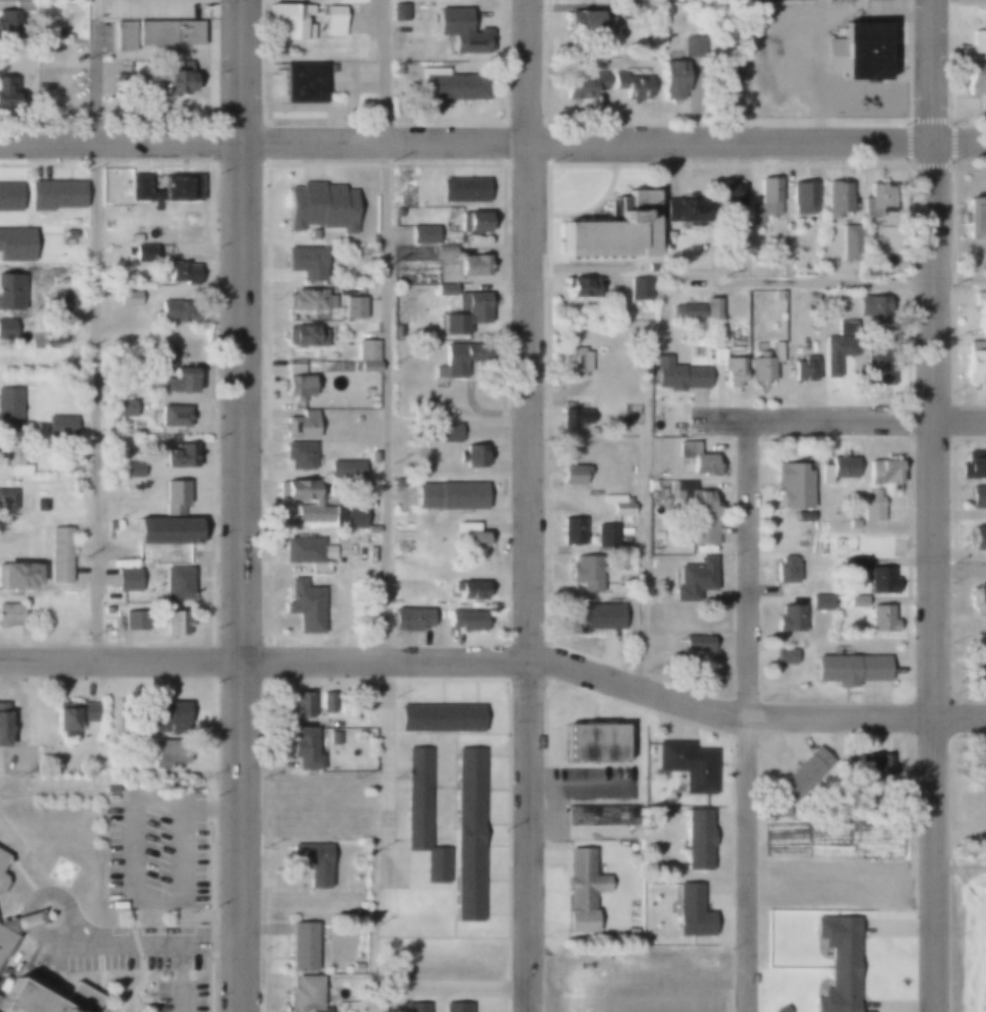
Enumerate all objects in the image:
building: (350, 1)
parking lot: (153, 7)
building: (627, 11)
building: (14, 17)
building: (333, 20)
building: (288, 22)
building: (585, 22)
building: (461, 33)
building: (157, 34)
building: (978, 42)
building: (689, 45)
building: (859, 52)
building: (737, 59)
road: (96, 70)
building: (173, 76)
building: (975, 78)
parking lot: (61, 80)
building: (671, 80)
building: (723, 81)
building: (127, 82)
building: (303, 83)
building: (582, 85)
building: (630, 85)
building: (449, 86)
building: (7, 92)
road: (614, 140)
road: (120, 141)
building: (163, 187)
building: (462, 190)
building: (731, 193)
building: (53, 195)
building: (802, 197)
building: (10, 198)
building: (836, 199)
building: (764, 201)
building: (876, 202)
building: (318, 206)
building: (683, 210)
building: (398, 212)
building: (974, 219)
building: (474, 221)
building: (72, 222)
building: (188, 226)
building: (611, 230)
building: (69, 234)
building: (422, 234)
building: (145, 238)
building: (849, 241)
building: (15, 245)
building: (444, 251)
building: (143, 253)
building: (305, 262)
building: (473, 266)
building: (179, 272)
road: (848, 282)
building: (579, 288)
building: (7, 289)
building: (443, 289)
building: (637, 289)
building: (778, 295)
building: (128, 299)
building: (308, 300)
building: (353, 308)
building: (473, 308)
storage tank: (657, 309)
building: (710, 309)
building: (53, 310)
building: (173, 312)
building: (685, 312)
building: (454, 323)
building: (6, 329)
road: (384, 331)
building: (303, 336)
building: (53, 337)
building: (867, 339)
building: (366, 350)
building: (330, 356)
building: (718, 356)
building: (453, 362)
building: (974, 362)
building: (573, 363)
building: (766, 363)
building: (802, 369)
building: (732, 372)
building: (678, 375)
building: (177, 381)
building: (294, 383)
road: (96, 400)
building: (123, 408)
building: (9, 410)
building: (173, 416)
building: (573, 419)
road: (841, 419)
building: (357, 420)
building: (299, 425)
building: (59, 426)
building: (447, 432)
building: (297, 455)
building: (180, 456)
building: (471, 456)
building: (696, 459)
building: (13, 460)
building: (972, 462)
storage tank: (633, 469)
building: (836, 469)
building: (130, 470)
building: (341, 470)
building: (882, 471)
storage tank: (663, 474)
building: (571, 475)
building: (398, 483)
storage tank: (647, 485)
building: (791, 486)
building: (462, 495)
building: (976, 496)
building: (5, 500)
building: (40, 504)
building: (317, 505)
building: (616, 505)
road: (934, 505)
road: (241, 506)
road: (529, 506)
building: (871, 507)
building: (696, 513)
building: (809, 516)
building: (169, 519)
building: (852, 524)
building: (111, 525)
storage tank: (813, 525)
building: (570, 531)
building: (604, 536)
building: (469, 537)
building: (977, 539)
building: (307, 552)
building: (59, 555)
building: (855, 563)
building: (783, 569)
road: (960, 570)
building: (584, 573)
building: (17, 576)
building: (125, 579)
building: (692, 579)
building: (879, 580)
building: (175, 584)
building: (467, 589)
road: (642, 594)
building: (976, 597)
building: (853, 603)
building: (302, 605)
building: (105, 611)
building: (10, 615)
building: (590, 617)
building: (409, 619)
building: (790, 619)
building: (134, 620)
building: (465, 620)
building: (879, 620)
building: (167, 623)
building: (694, 643)
building: (783, 657)
road: (120, 660)
building: (849, 668)
building: (975, 668)
road: (614, 683)
building: (326, 704)
building: (299, 705)
building: (71, 715)
road: (747, 716)
building: (168, 717)
building: (442, 718)
building: (1, 724)
building: (333, 737)
building: (594, 743)
building: (303, 748)
building: (165, 752)
building: (686, 765)
building: (874, 768)
building: (978, 771)
building: (803, 775)
building: (893, 786)
road: (212, 809)
building: (601, 815)
building: (422, 817)
building: (469, 836)
building: (696, 841)
parking lot: (156, 848)
building: (2, 861)
building: (310, 863)
helipad: (60, 872)
building: (2, 882)
building: (580, 889)
road: (44, 896)
road: (133, 898)
building: (360, 905)
building: (360, 912)
building: (690, 912)
building: (7, 937)
road: (150, 947)
building: (300, 947)
parking lot: (131, 953)
building: (837, 963)
building: (355, 966)
road: (181, 979)
road: (445, 983)
building: (304, 994)
parking lot: (180, 996)
building: (47, 1000)
building: (456, 1007)
building: (416, 1008)
building: (779, 1009)

